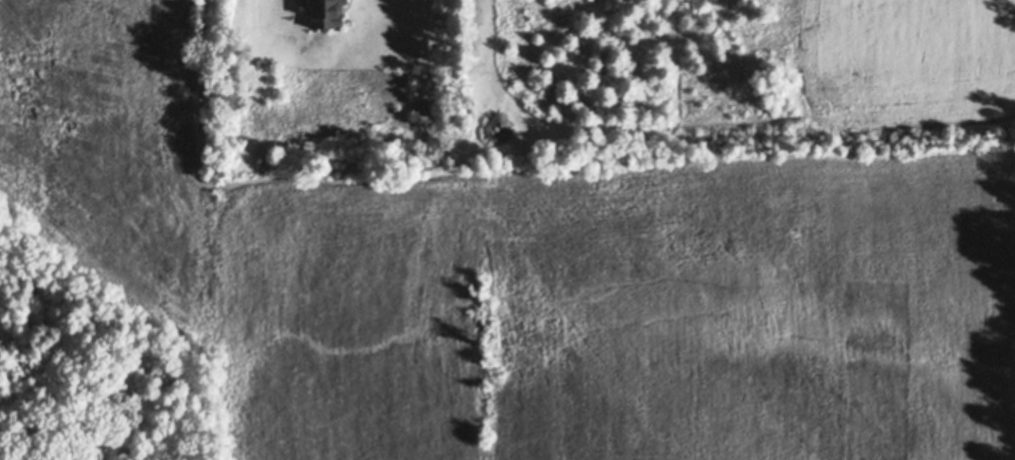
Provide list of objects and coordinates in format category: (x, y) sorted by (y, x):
building: (325, 13)

